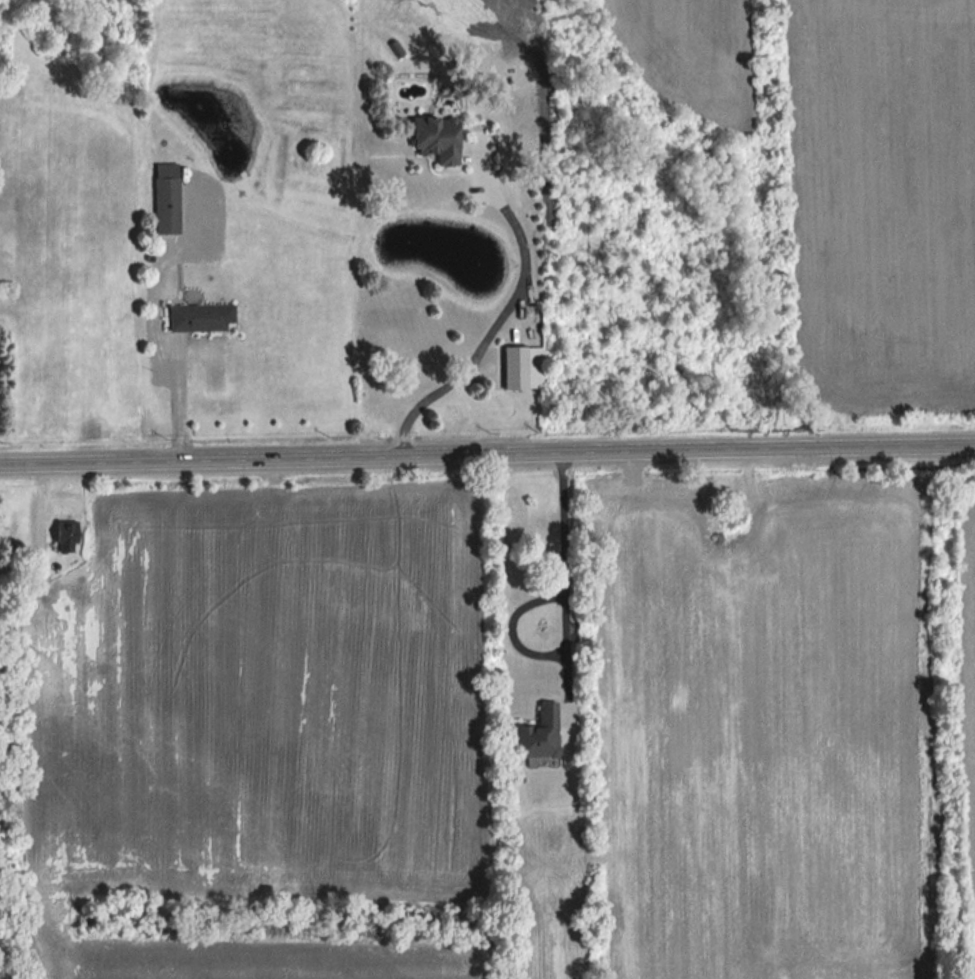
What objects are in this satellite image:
crop: (694, 54)
building: (433, 139)
building: (165, 207)
crop: (878, 207)
road: (502, 310)
building: (198, 318)
road: (157, 321)
building: (513, 369)
road: (487, 455)
building: (63, 537)
road: (568, 583)
crop: (261, 705)
crop: (968, 715)
crop: (766, 732)
building: (536, 735)
crop: (550, 894)
crop: (243, 955)
crop: (972, 972)

